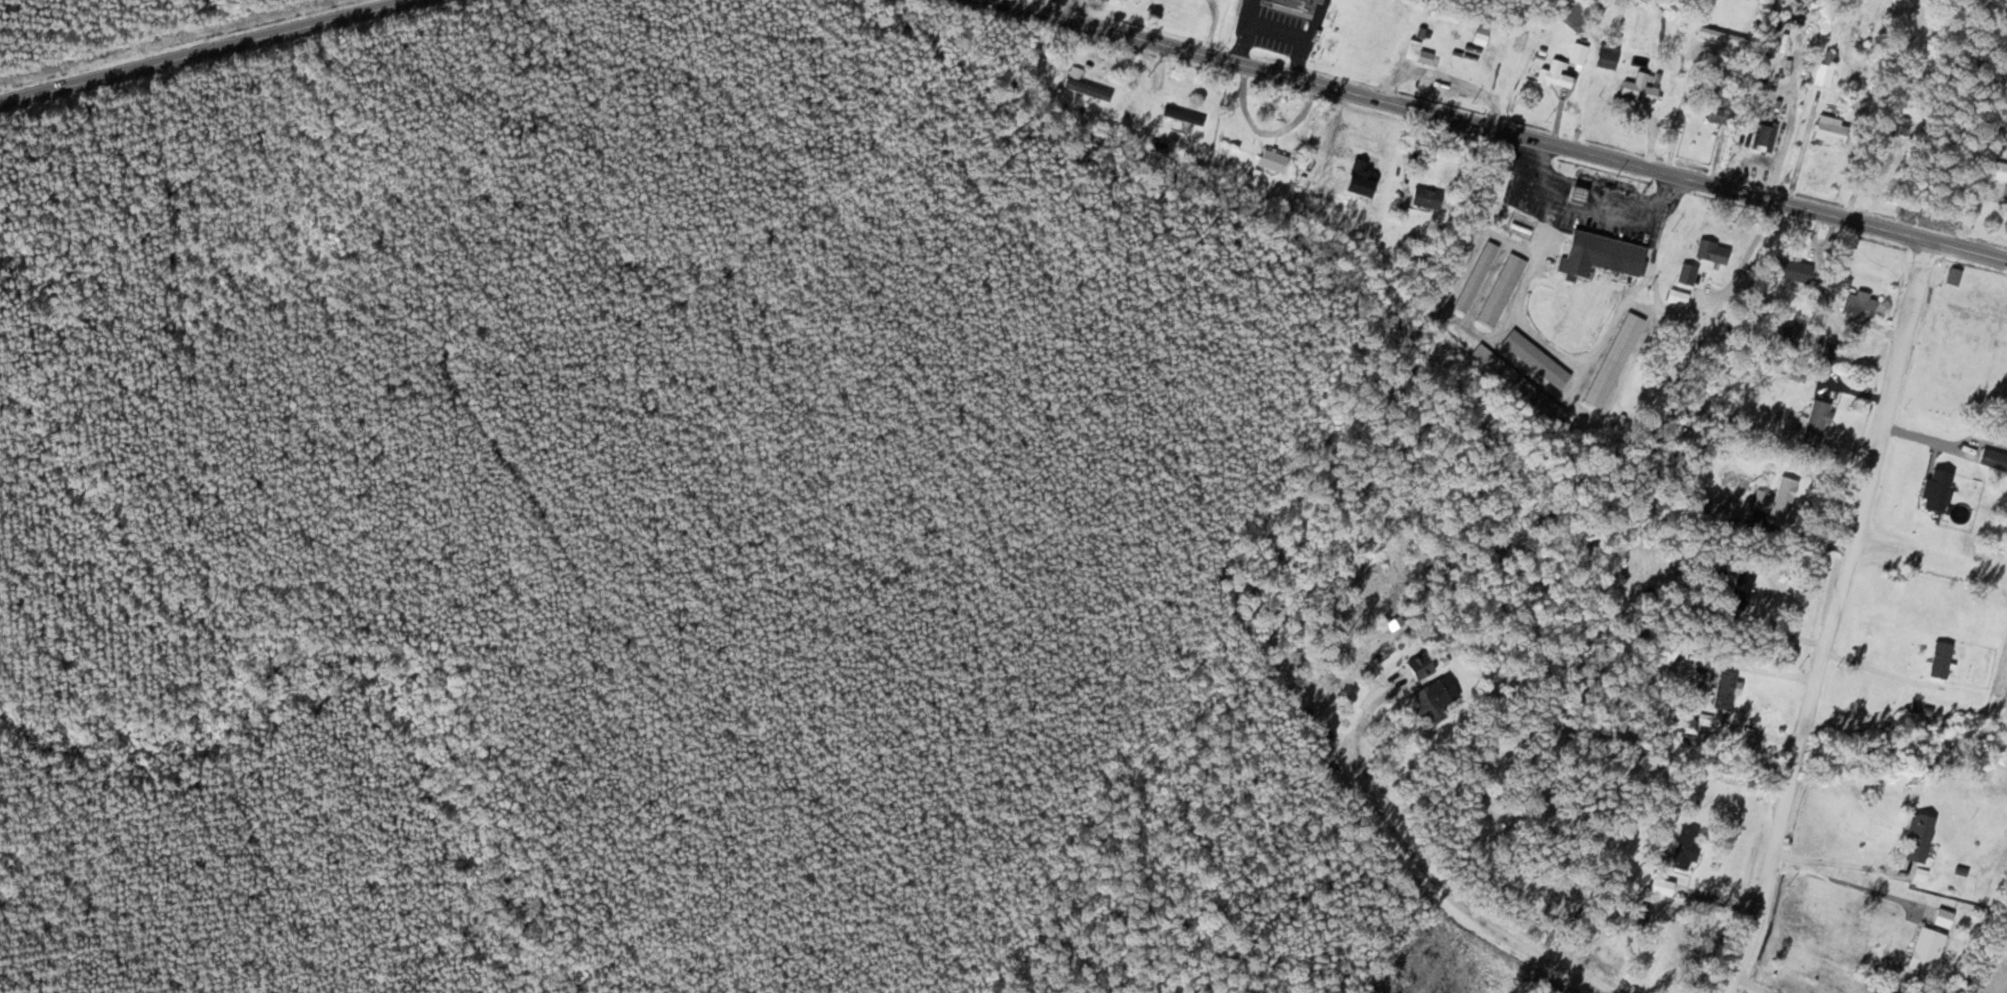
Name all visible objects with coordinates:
building: (1296, 6)
building: (1411, 50)
building: (1607, 51)
road: (213, 53)
building: (1578, 53)
building: (1424, 56)
road: (1432, 65)
building: (1553, 76)
building: (1084, 87)
building: (1641, 90)
building: (1716, 114)
building: (1180, 115)
building: (1829, 132)
road: (1521, 134)
building: (1763, 137)
building: (1271, 160)
building: (1358, 170)
building: (1424, 198)
building: (1711, 252)
building: (1601, 255)
building: (1791, 271)
building: (1686, 274)
building: (1475, 276)
building: (1500, 289)
building: (1857, 306)
building: (1535, 359)
building: (1518, 382)
building: (1816, 422)
building: (1993, 459)
building: (1781, 498)
road: (1932, 563)
building: (1737, 589)
road: (1835, 615)
building: (1939, 659)
building: (1418, 665)
building: (1723, 689)
building: (1427, 706)
building: (1916, 837)
building: (1682, 847)
building: (1963, 861)
road: (776, 870)
building: (1659, 886)
road: (1442, 899)
building: (1637, 918)
building: (1925, 950)

